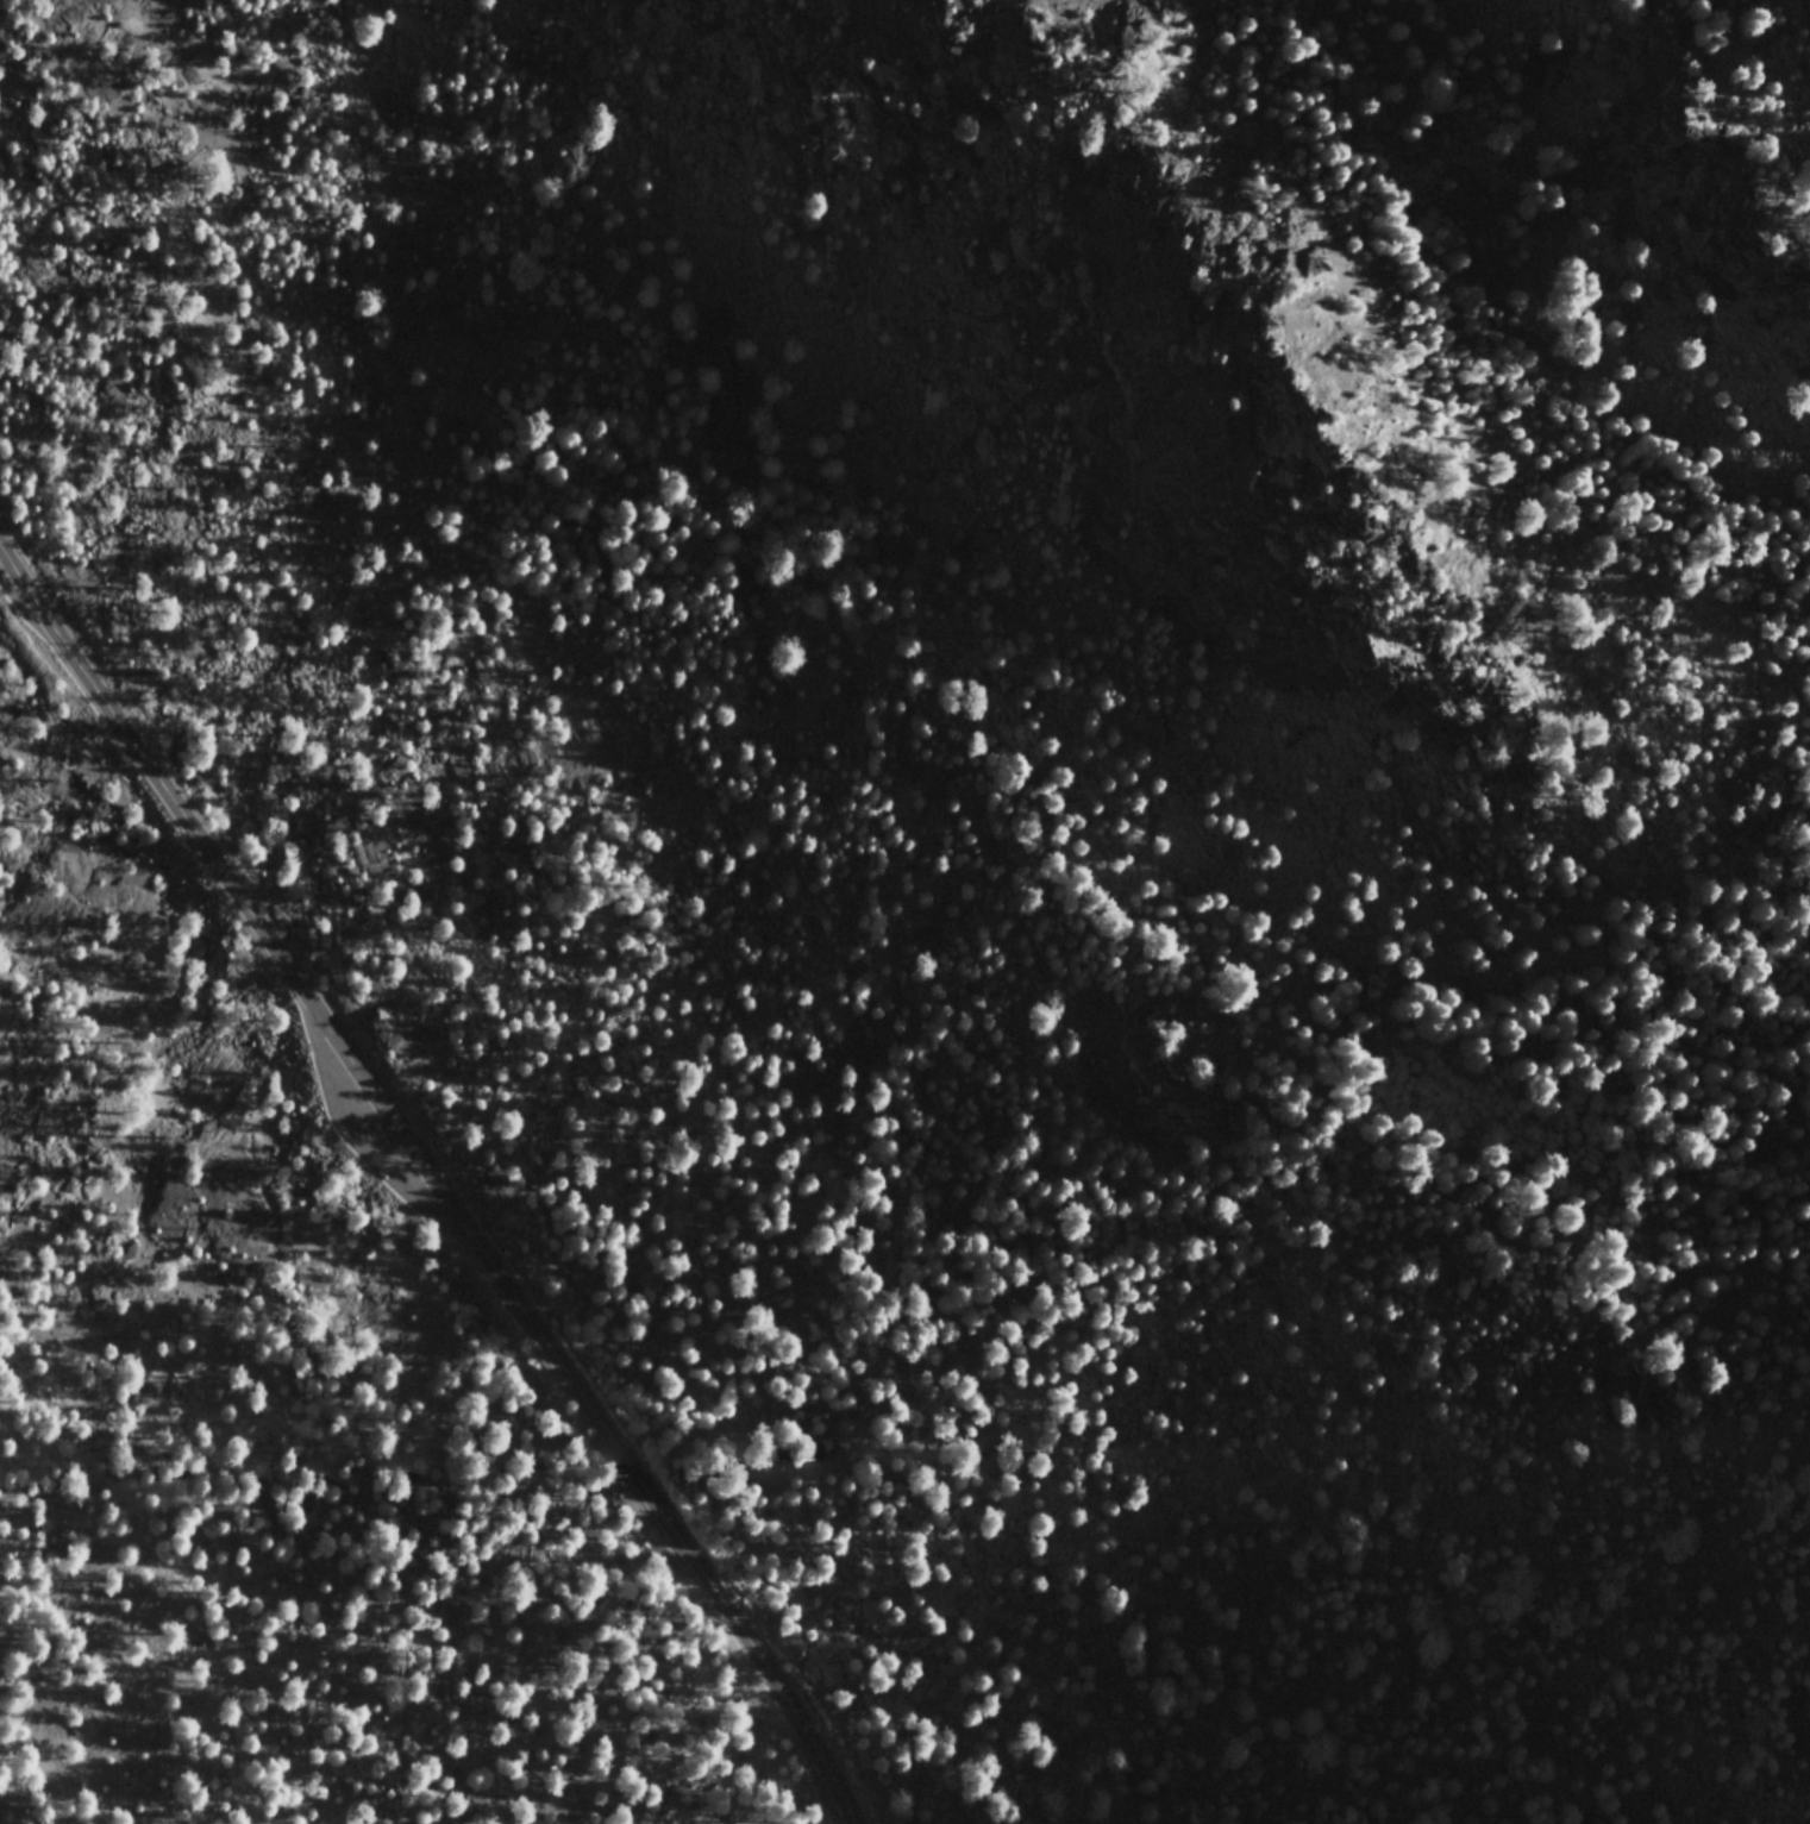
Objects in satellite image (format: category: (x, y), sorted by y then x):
road: (432, 1185)

